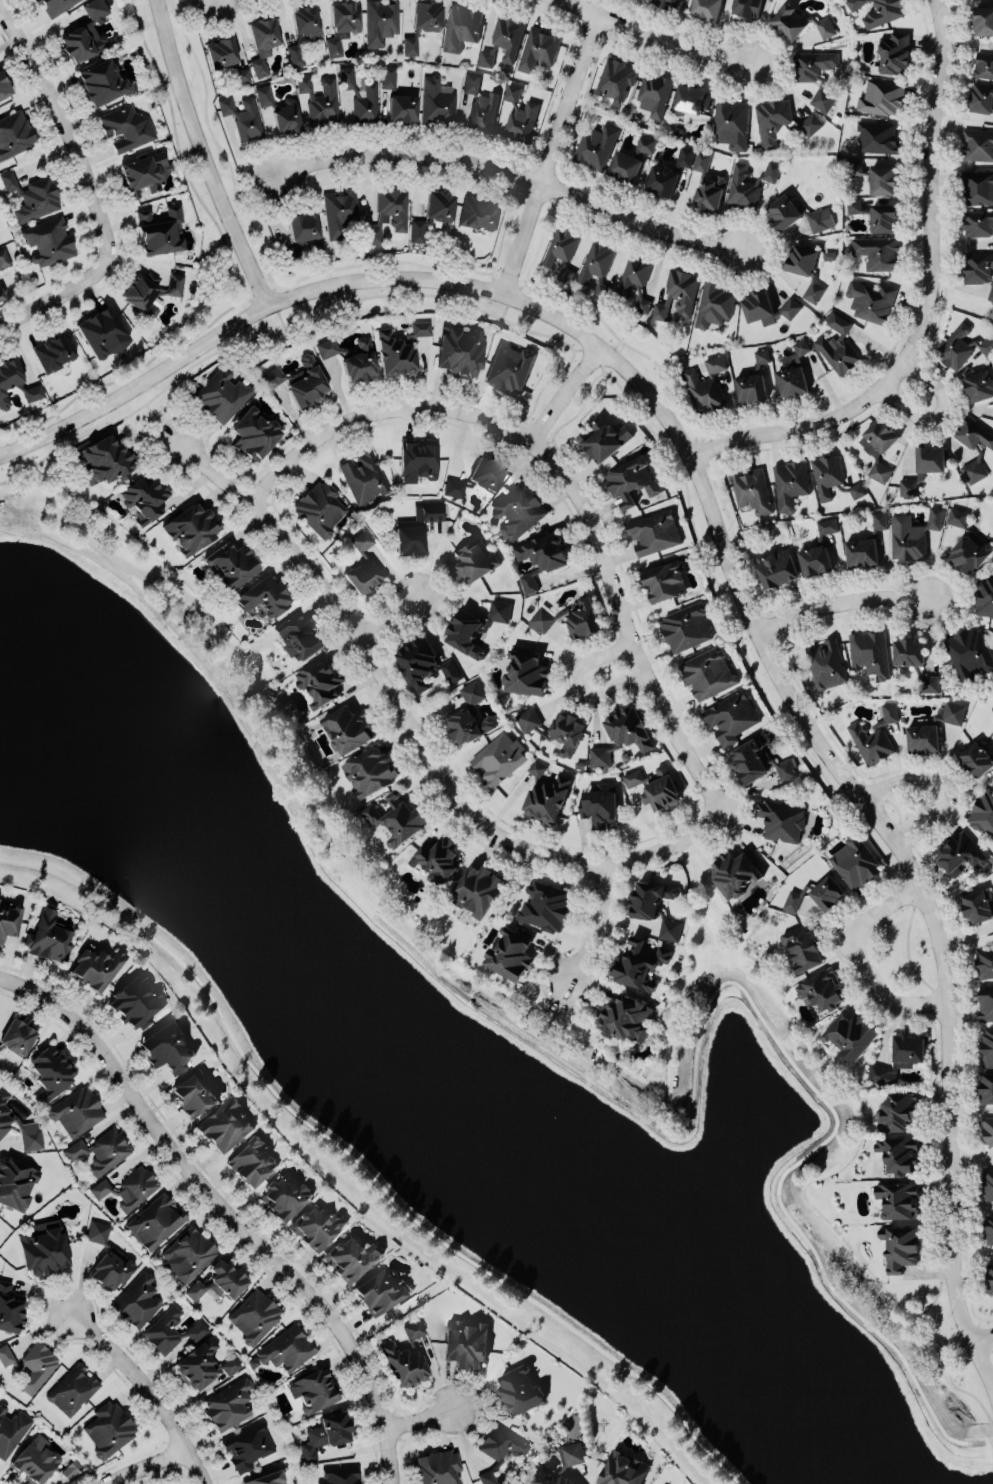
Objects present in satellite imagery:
building: (665, 3)
building: (55, 6)
building: (747, 8)
building: (706, 9)
building: (879, 11)
building: (427, 15)
building: (983, 19)
building: (380, 21)
building: (798, 22)
building: (341, 24)
building: (460, 26)
building: (86, 33)
building: (302, 33)
road: (653, 38)
building: (503, 39)
building: (262, 43)
building: (410, 44)
building: (539, 47)
building: (221, 52)
building: (894, 53)
building: (983, 65)
building: (815, 73)
building: (241, 75)
building: (388, 76)
building: (346, 77)
building: (615, 80)
building: (102, 82)
building: (4, 87)
building: (653, 93)
building: (264, 95)
building: (881, 96)
building: (980, 97)
building: (319, 98)
building: (691, 99)
building: (437, 100)
building: (365, 104)
building: (480, 104)
building: (402, 108)
building: (520, 115)
building: (242, 117)
building: (286, 117)
building: (771, 119)
building: (810, 123)
building: (732, 124)
building: (125, 127)
building: (14, 134)
building: (876, 136)
road: (218, 143)
building: (978, 144)
building: (595, 145)
road: (179, 151)
road: (548, 154)
road: (201, 157)
building: (701, 160)
building: (629, 161)
building: (144, 172)
road: (513, 173)
building: (669, 173)
road: (100, 175)
building: (876, 177)
building: (751, 182)
building: (978, 185)
building: (709, 192)
building: (32, 196)
building: (853, 205)
building: (339, 212)
building: (388, 213)
building: (478, 213)
building: (432, 215)
building: (798, 215)
building: (883, 217)
building: (978, 223)
building: (160, 231)
building: (49, 241)
building: (561, 245)
building: (878, 251)
building: (4, 258)
road: (388, 261)
building: (596, 267)
building: (805, 267)
building: (979, 268)
building: (566, 272)
building: (635, 280)
building: (682, 289)
building: (150, 292)
building: (2, 296)
building: (871, 299)
road: (927, 300)
building: (713, 304)
road: (505, 306)
building: (660, 309)
building: (768, 309)
road: (326, 311)
road: (280, 317)
building: (102, 333)
building: (837, 344)
building: (960, 346)
building: (399, 350)
building: (460, 351)
building: (53, 353)
building: (762, 355)
building: (351, 359)
road: (588, 360)
building: (509, 368)
building: (793, 371)
building: (272, 376)
building: (307, 382)
building: (15, 384)
building: (709, 385)
building: (980, 386)
building: (751, 387)
road: (567, 391)
building: (222, 396)
road: (374, 397)
road: (938, 412)
road: (380, 418)
road: (539, 433)
building: (975, 434)
building: (253, 435)
road: (207, 437)
building: (603, 438)
building: (879, 448)
building: (418, 461)
building: (106, 462)
building: (923, 468)
building: (973, 470)
building: (363, 476)
building: (479, 477)
building: (832, 478)
building: (630, 481)
building: (790, 483)
building: (752, 489)
building: (145, 501)
building: (319, 507)
building: (517, 510)
road: (603, 514)
building: (192, 528)
building: (416, 529)
building: (653, 532)
building: (912, 534)
road: (723, 542)
building: (966, 543)
building: (867, 544)
building: (818, 550)
building: (367, 558)
building: (541, 558)
building: (473, 560)
building: (231, 563)
building: (776, 568)
building: (663, 580)
road: (954, 586)
building: (264, 592)
building: (985, 596)
road: (844, 601)
road: (392, 613)
building: (571, 619)
building: (475, 623)
building: (685, 626)
road: (624, 627)
road: (760, 630)
building: (299, 632)
building: (870, 652)
building: (969, 652)
building: (424, 660)
building: (915, 663)
building: (827, 665)
building: (526, 668)
building: (707, 673)
building: (319, 677)
road: (576, 682)
building: (472, 691)
building: (731, 716)
building: (527, 718)
building: (468, 724)
building: (628, 727)
building: (348, 728)
road: (421, 729)
building: (934, 730)
building: (567, 732)
building: (874, 735)
building: (599, 755)
building: (976, 755)
building: (750, 757)
building: (498, 758)
building: (537, 766)
building: (786, 769)
building: (370, 770)
road: (861, 778)
building: (656, 784)
road: (941, 784)
building: (548, 793)
building: (599, 800)
building: (983, 809)
building: (396, 817)
building: (781, 817)
road: (910, 842)
building: (437, 858)
building: (855, 859)
building: (735, 868)
building: (477, 888)
building: (827, 892)
building: (649, 897)
building: (792, 900)
building: (546, 904)
building: (977, 905)
building: (9, 920)
road: (597, 924)
building: (669, 927)
building: (48, 936)
building: (803, 945)
building: (510, 951)
road: (863, 953)
road: (907, 953)
building: (97, 962)
building: (639, 962)
building: (984, 962)
building: (822, 989)
building: (136, 998)
building: (985, 1002)
building: (625, 1015)
building: (17, 1032)
building: (850, 1035)
building: (987, 1045)
building: (166, 1047)
building: (899, 1057)
building: (50, 1071)
building: (987, 1082)
building: (193, 1090)
building: (897, 1108)
building: (77, 1109)
building: (5, 1111)
building: (224, 1125)
building: (988, 1127)
building: (30, 1135)
building: (101, 1149)
building: (898, 1153)
building: (251, 1157)
building: (16, 1182)
building: (988, 1183)
building: (129, 1186)
building: (285, 1194)
building: (899, 1196)
road: (224, 1211)
building: (155, 1221)
building: (317, 1226)
building: (988, 1229)
building: (899, 1246)
building: (44, 1248)
building: (189, 1251)
building: (353, 1255)
building: (107, 1258)
road: (298, 1263)
building: (989, 1278)
building: (219, 1279)
building: (379, 1292)
building: (138, 1299)
building: (10, 1307)
building: (254, 1315)
road: (976, 1327)
building: (170, 1328)
road: (982, 1333)
building: (465, 1342)
road: (957, 1342)
building: (286, 1347)
building: (406, 1355)
building: (10, 1357)
building: (37, 1363)
building: (203, 1364)
road: (152, 1377)
building: (73, 1387)
building: (518, 1388)
building: (313, 1390)
building: (228, 1404)
road: (420, 1415)
road: (384, 1425)
building: (12, 1427)
building: (109, 1427)
building: (327, 1432)
building: (247, 1446)
building: (499, 1448)
building: (571, 1453)
building: (35, 1458)
road: (151, 1465)
building: (438, 1466)
building: (70, 1468)
building: (622, 1468)
building: (340, 1475)
building: (266, 1477)
building: (550, 1478)

